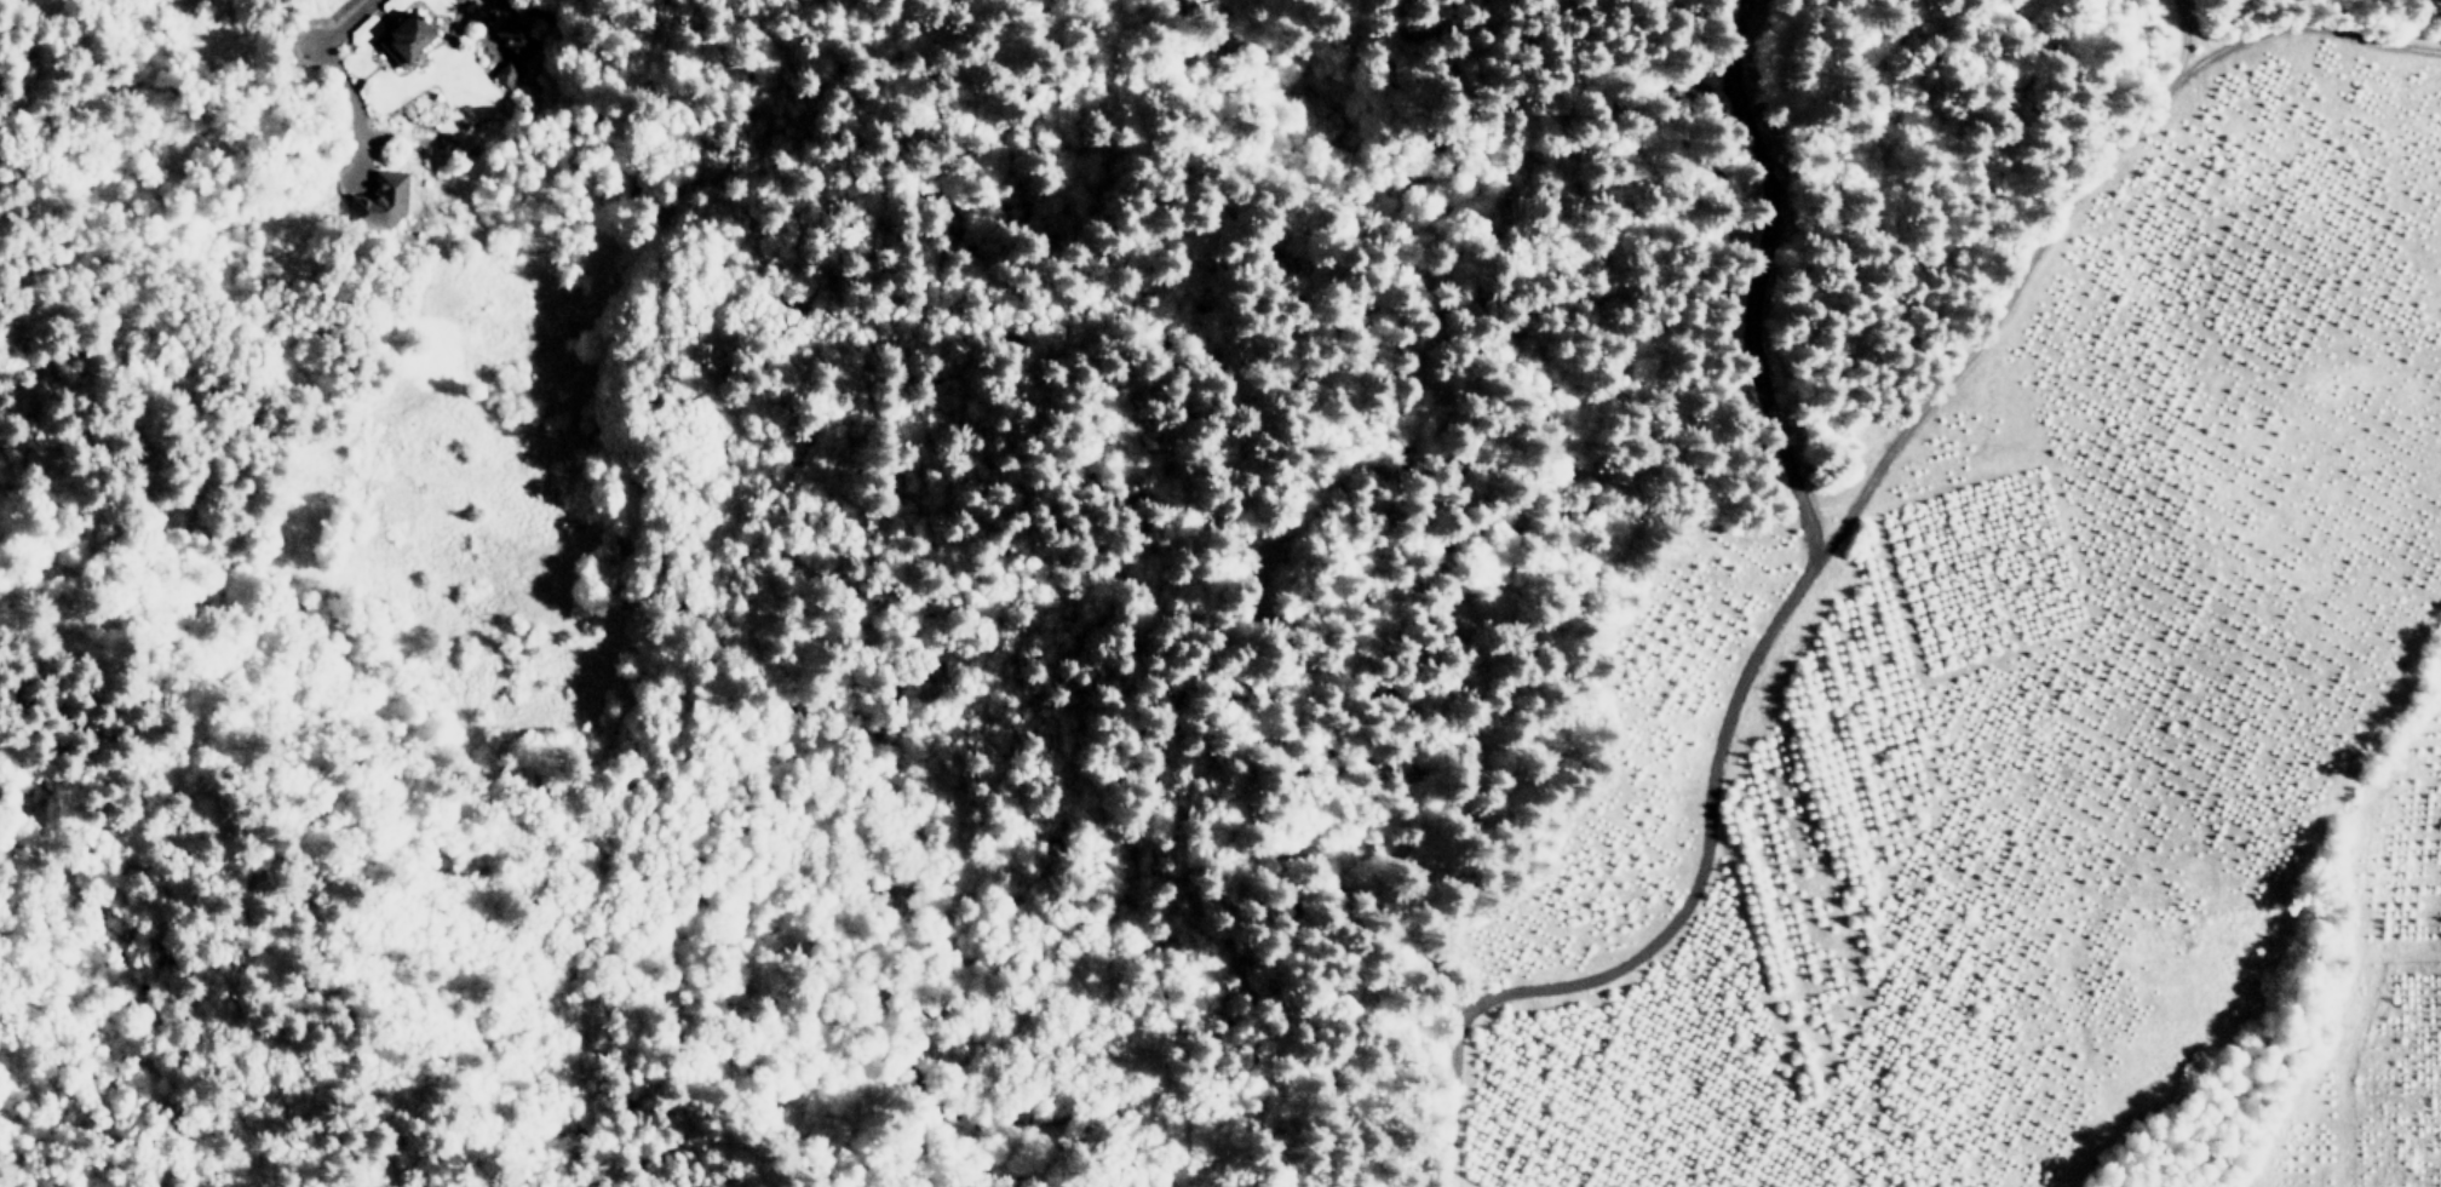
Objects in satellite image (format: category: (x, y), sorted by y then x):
road: (339, 23)
road: (1447, 339)
road: (1877, 465)
road: (953, 859)

